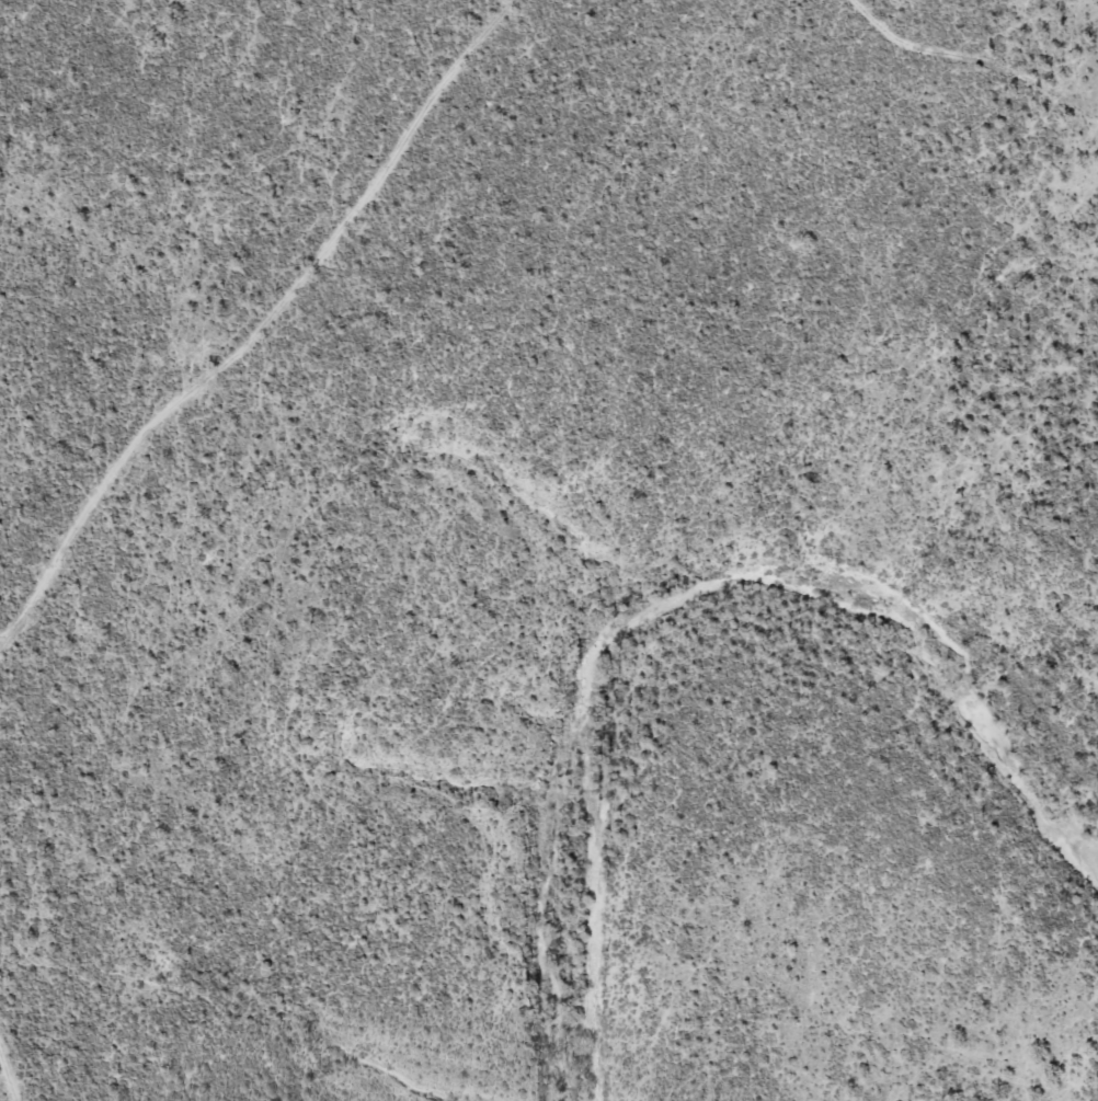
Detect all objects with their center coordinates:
road: (262, 335)
road: (12, 1070)

